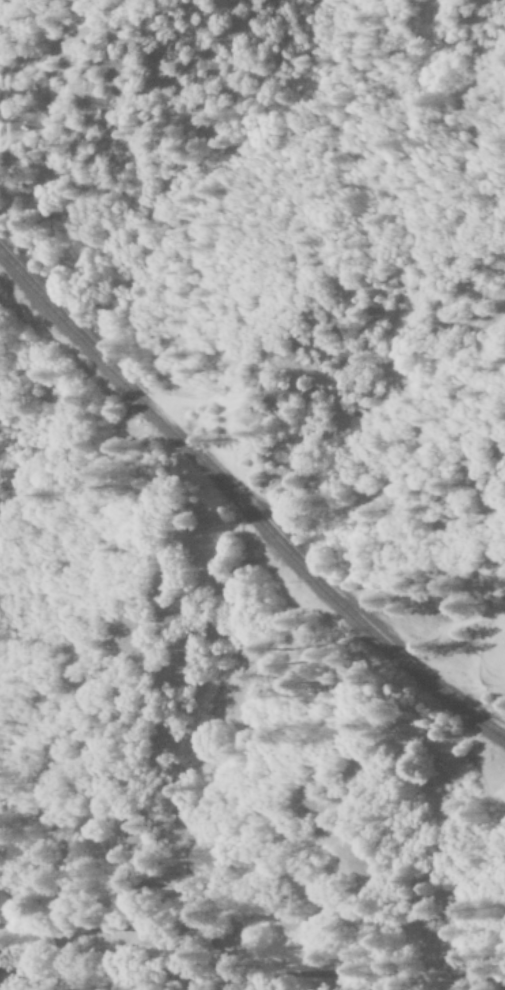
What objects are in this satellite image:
railway: (243, 504)

